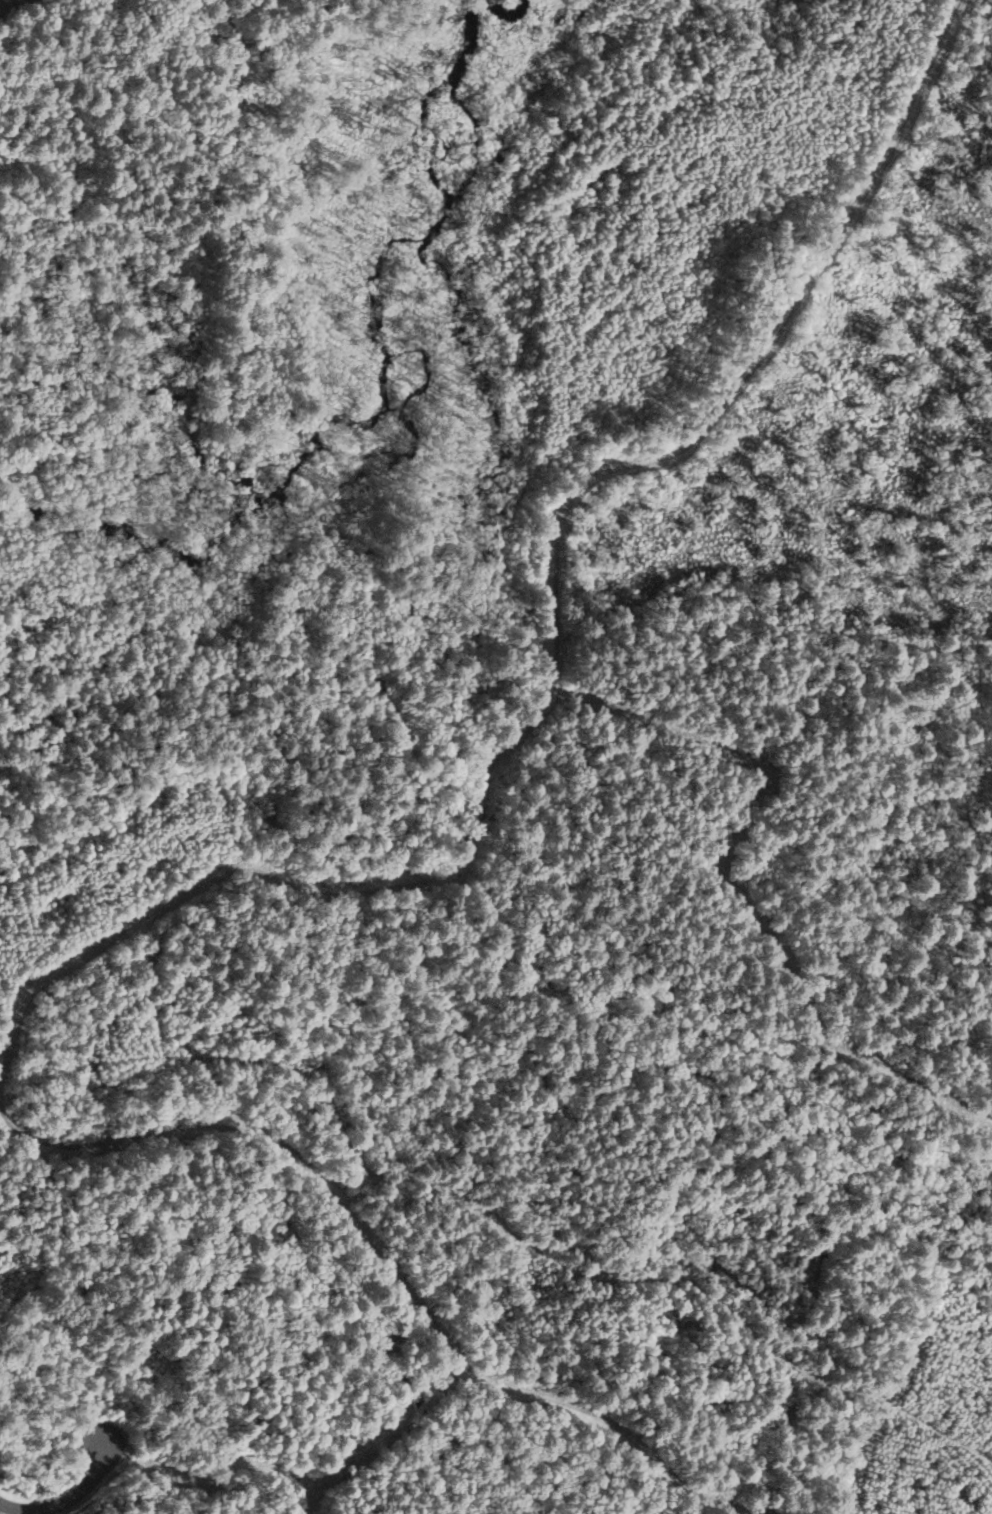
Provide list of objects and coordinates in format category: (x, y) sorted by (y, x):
road: (552, 636)
road: (386, 1254)
road: (70, 1502)

